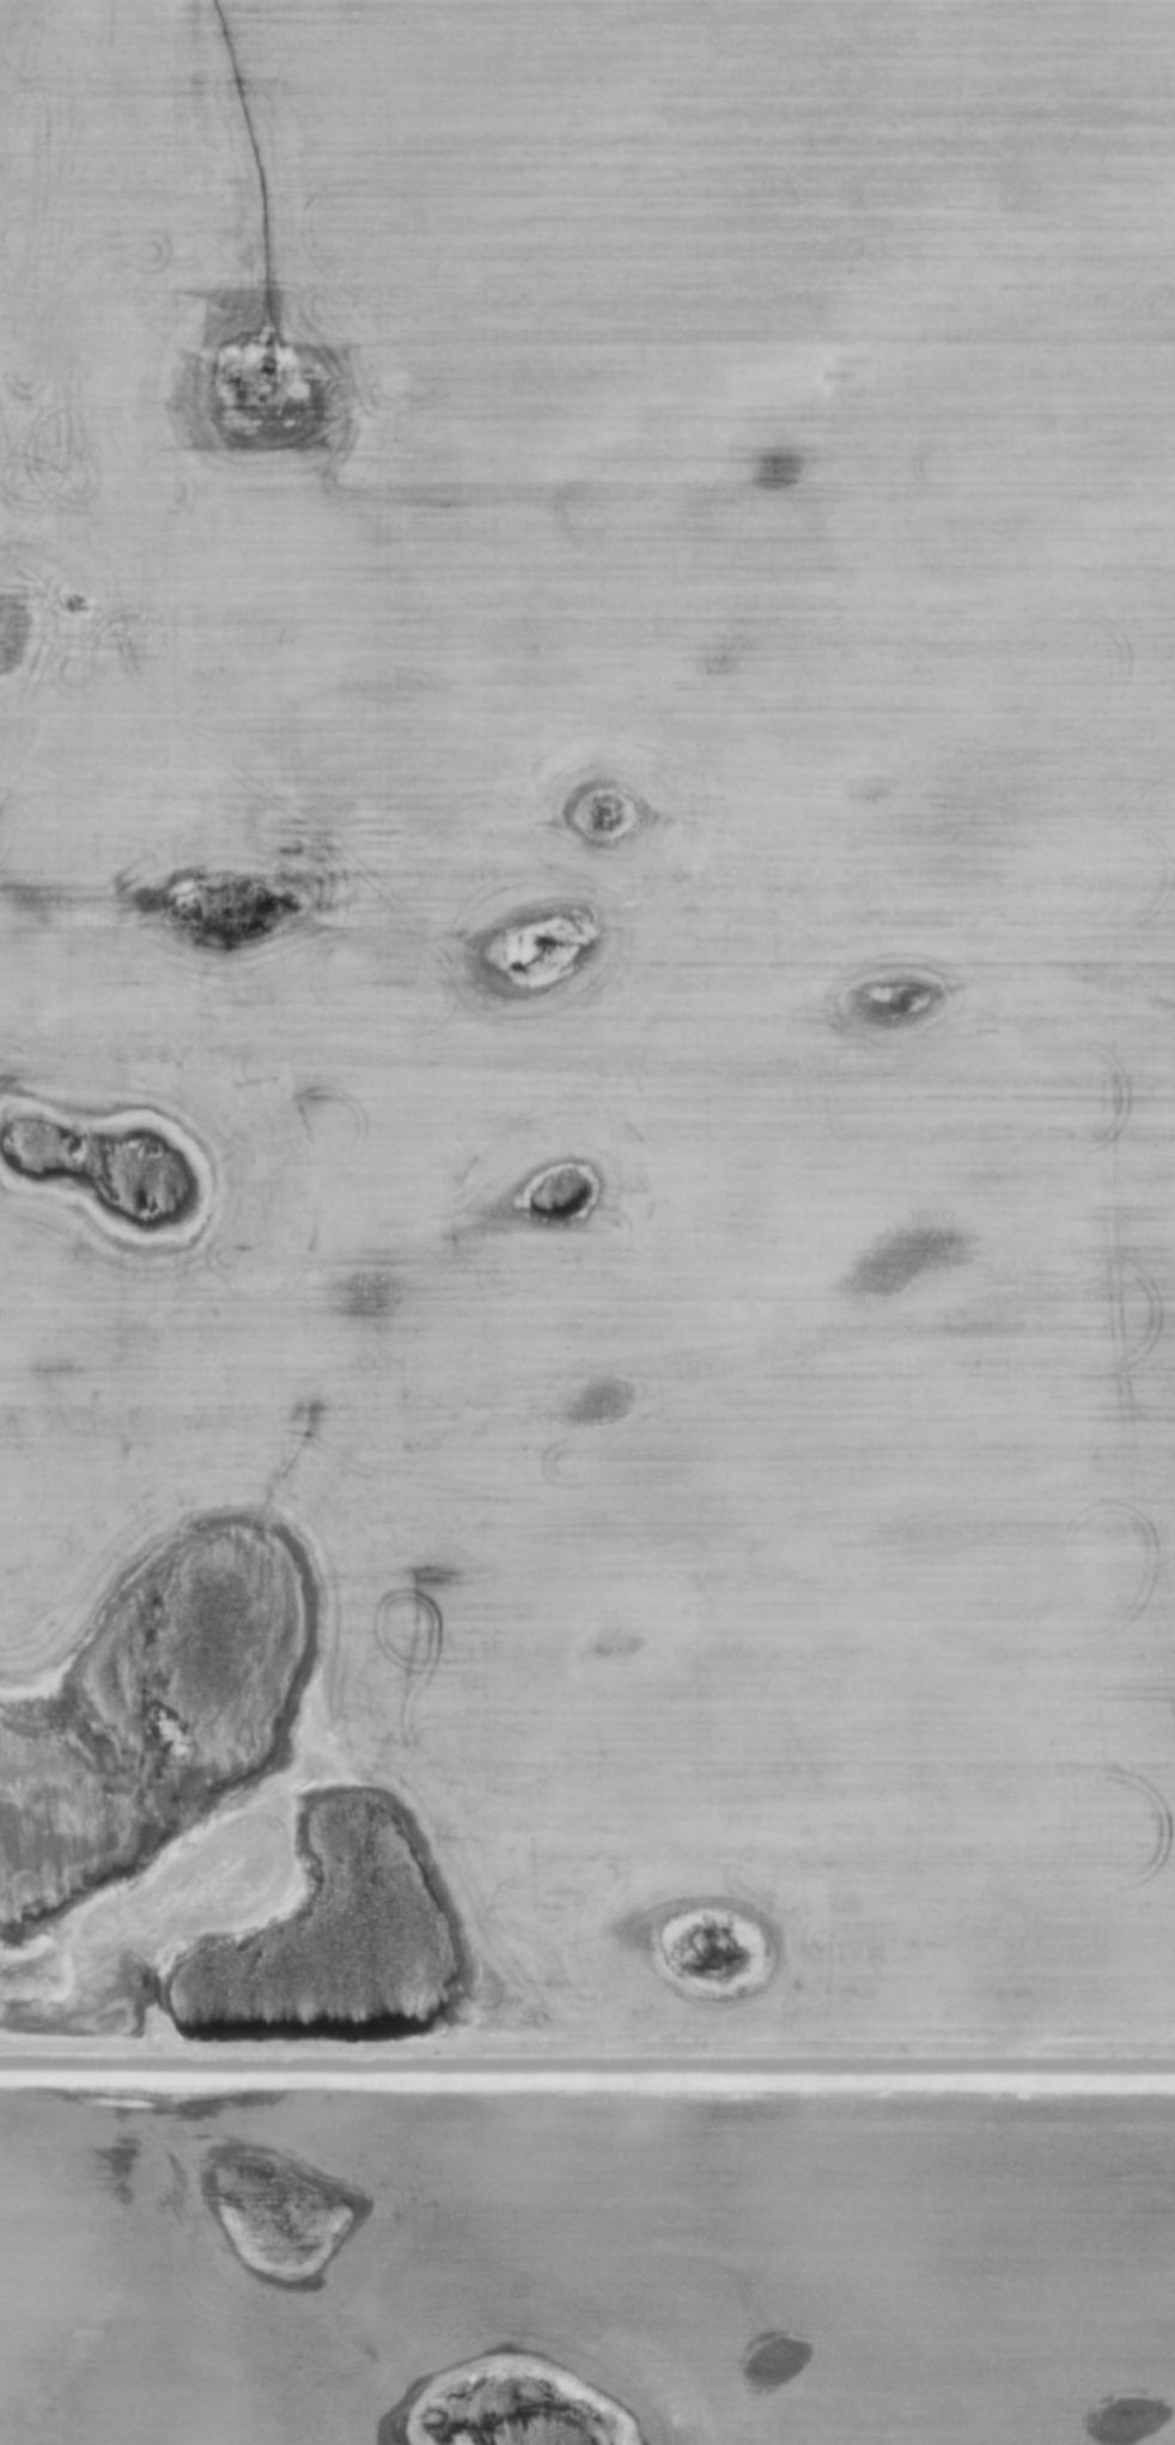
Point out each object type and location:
road: (587, 2067)

